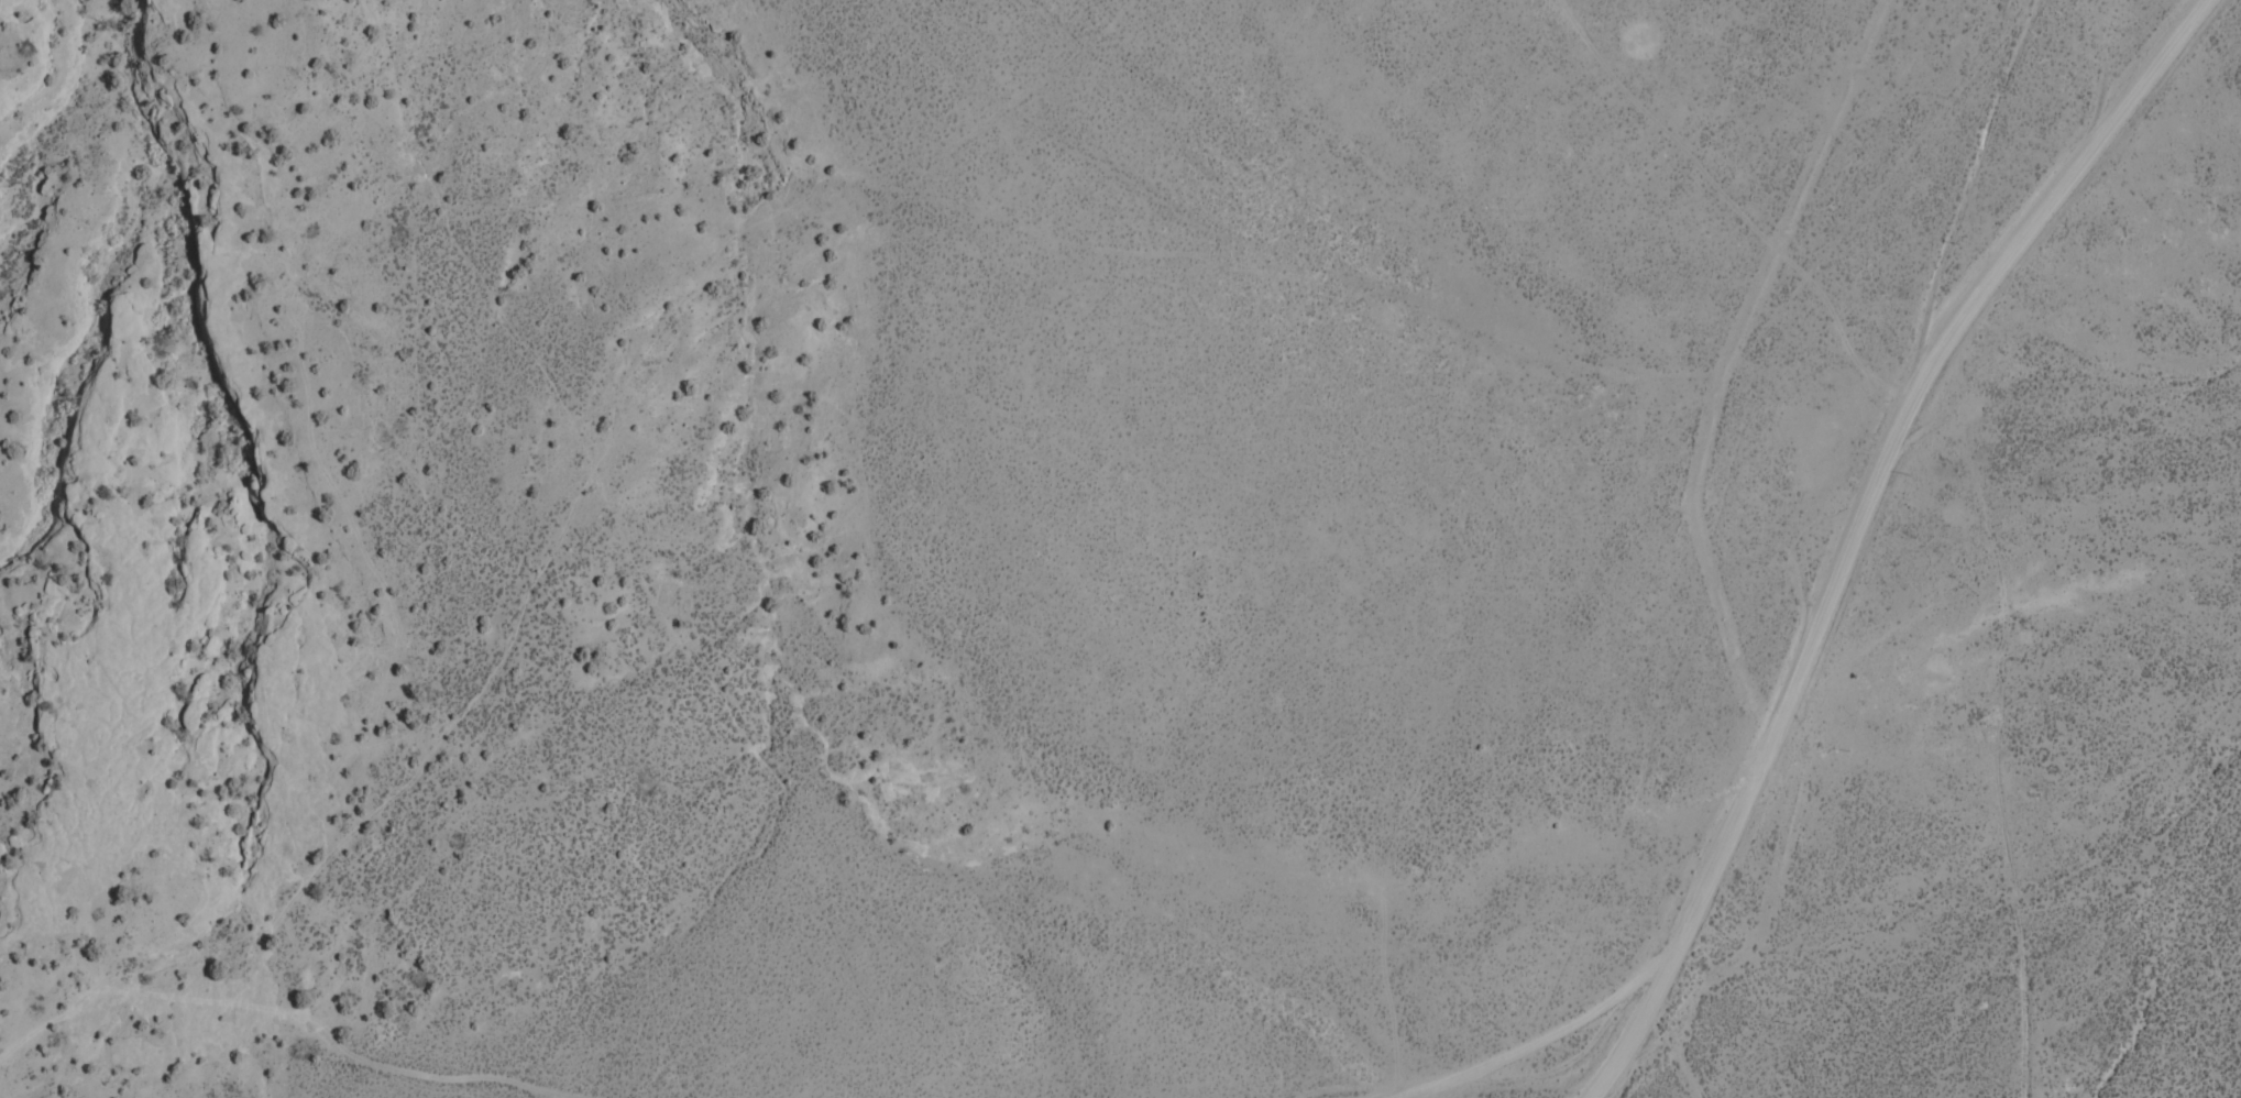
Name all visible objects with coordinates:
road: (1279, 384)
road: (1828, 510)
road: (1158, 710)
road: (1691, 1046)

